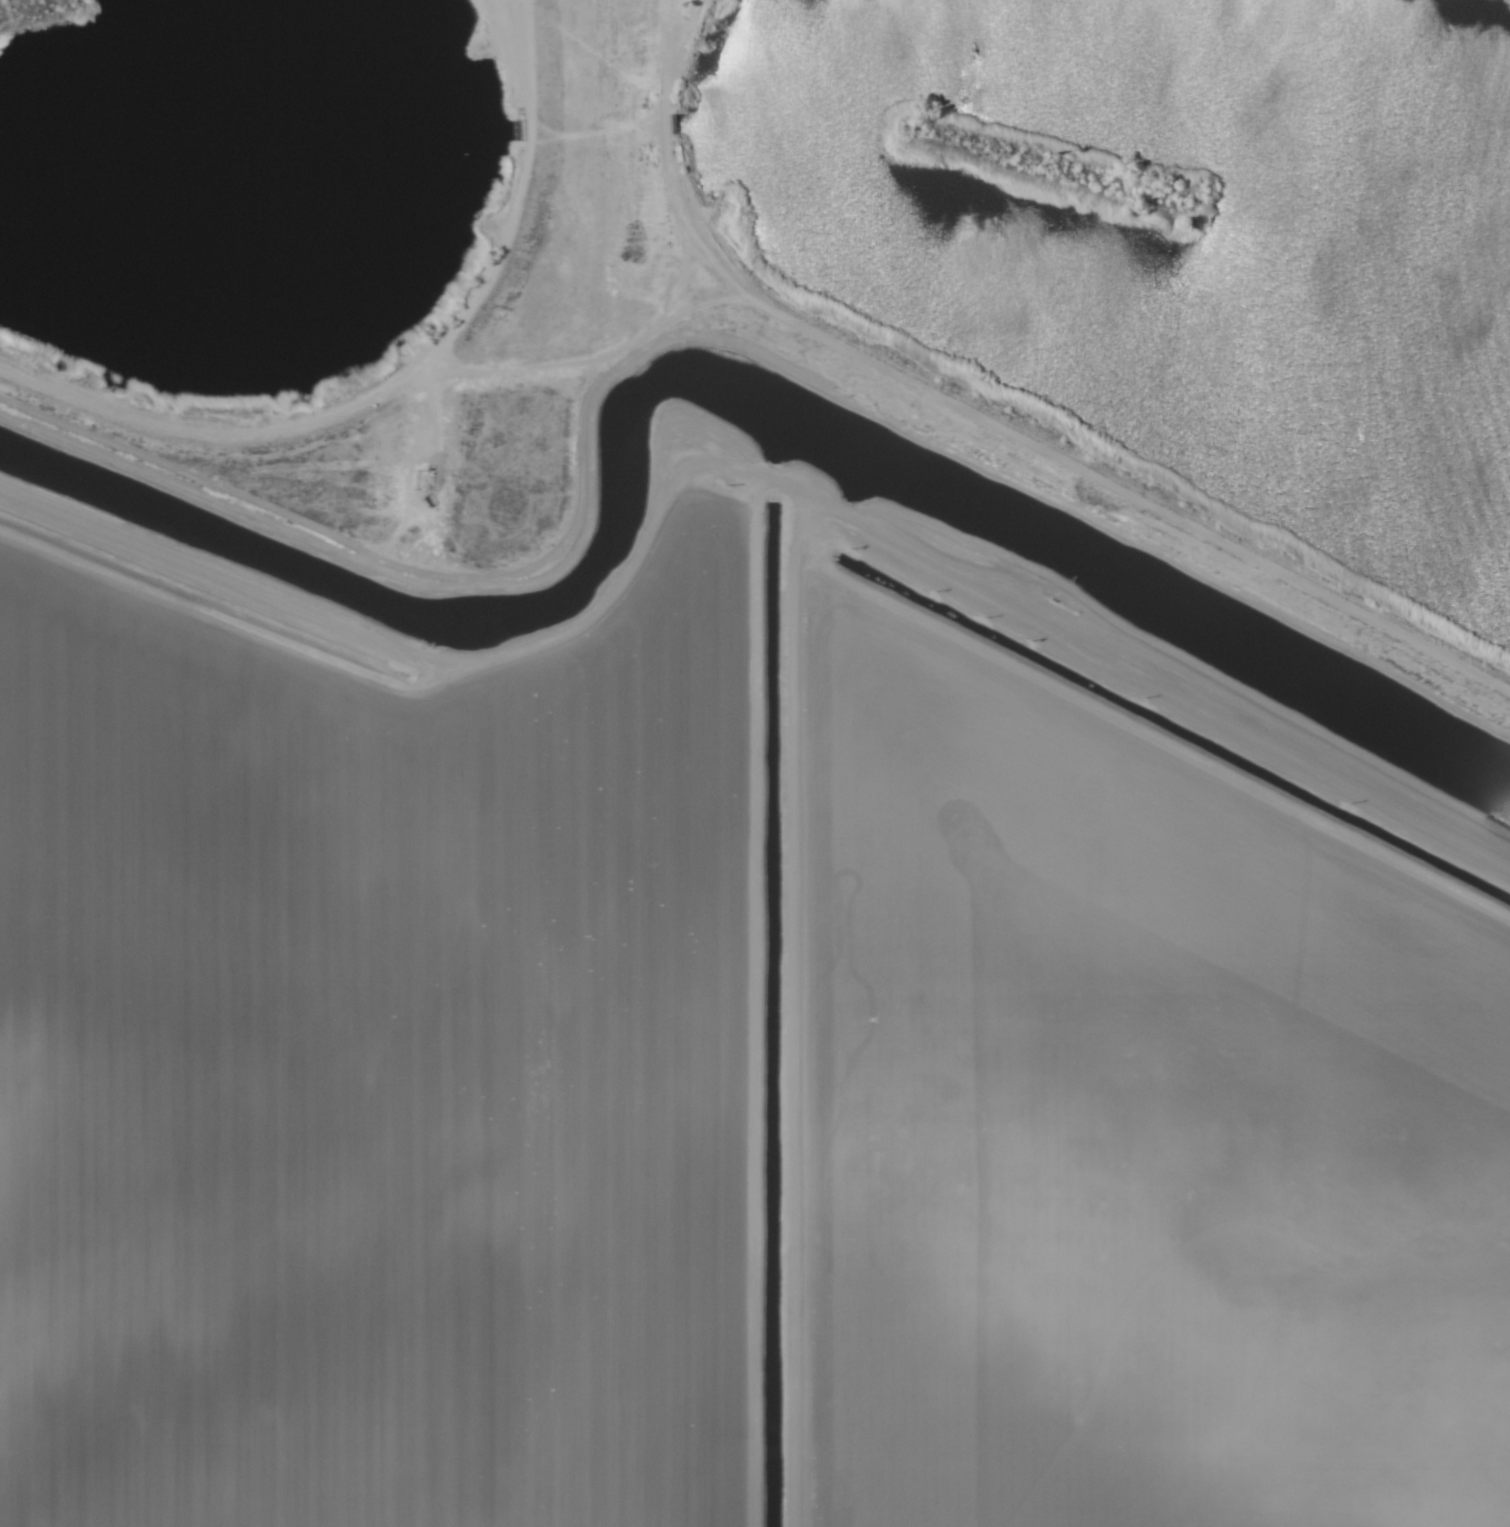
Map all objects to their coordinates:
crop: (729, 1040)
road: (829, 1078)

